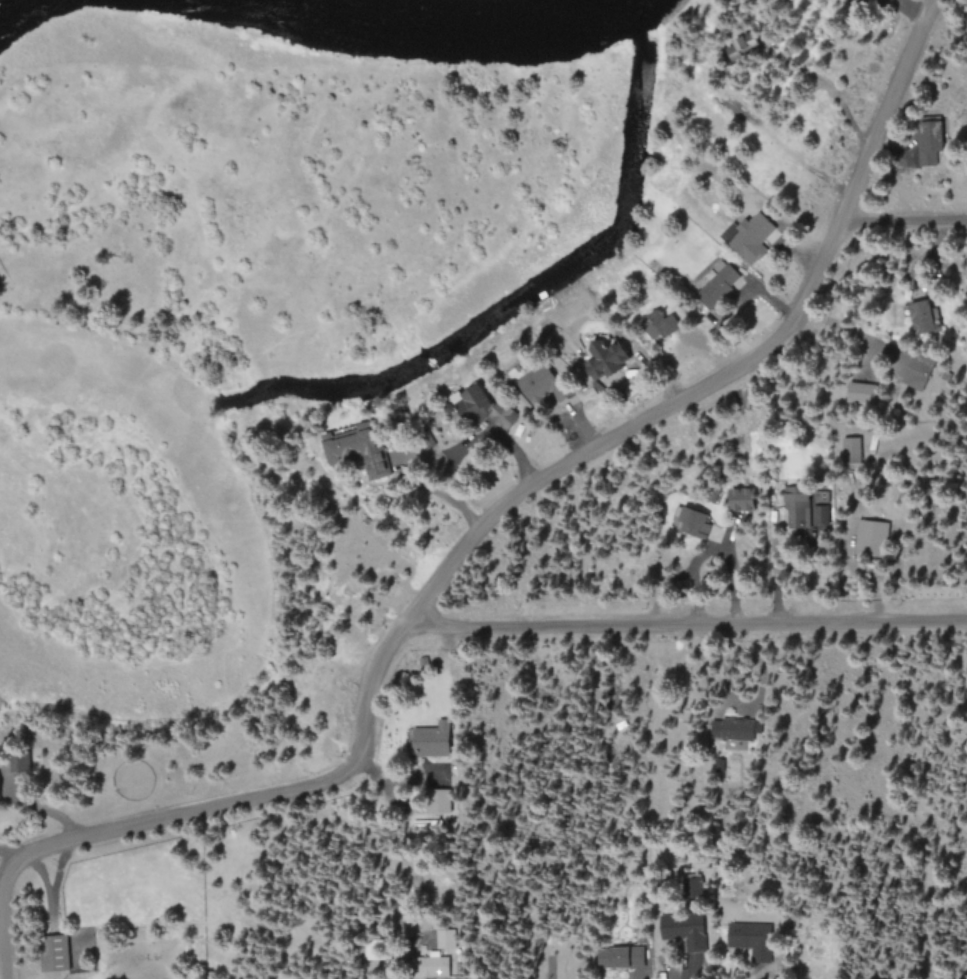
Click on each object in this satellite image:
river: (427, 21)
building: (931, 142)
road: (909, 219)
building: (749, 236)
building: (711, 293)
building: (924, 316)
building: (661, 324)
building: (608, 362)
building: (919, 370)
building: (545, 384)
building: (862, 392)
building: (485, 406)
building: (352, 446)
building: (852, 449)
building: (745, 498)
building: (797, 506)
building: (821, 514)
building: (692, 520)
road: (483, 533)
building: (873, 537)
road: (690, 623)
building: (733, 728)
building: (434, 739)
building: (1, 789)
building: (439, 801)
building: (680, 926)
building: (445, 938)
building: (756, 944)
building: (54, 953)
building: (621, 957)
building: (430, 965)

